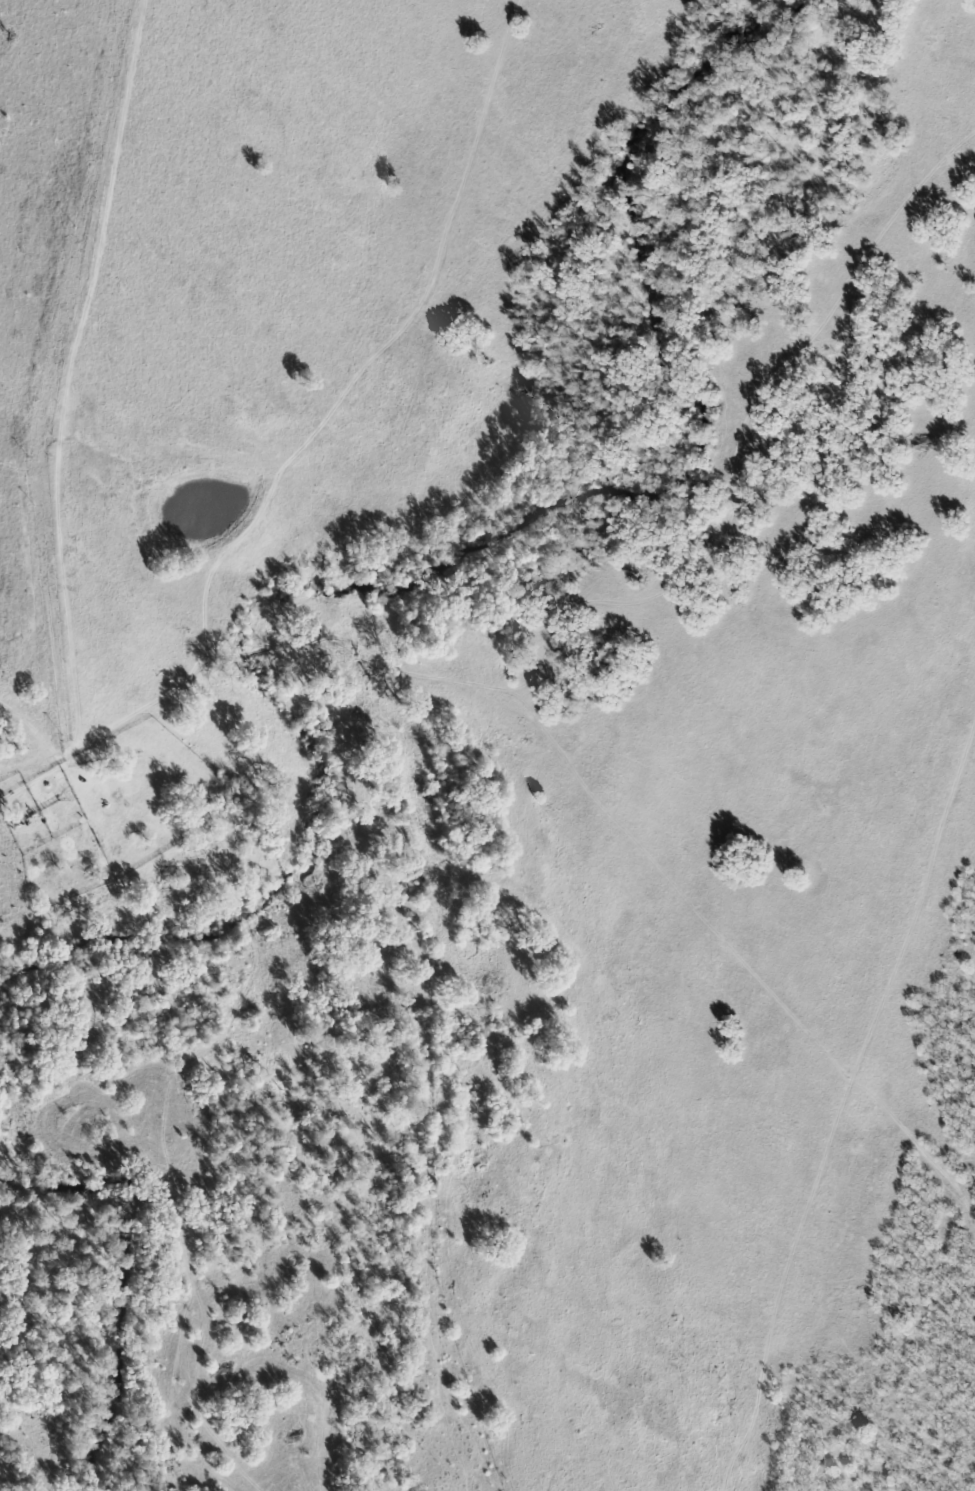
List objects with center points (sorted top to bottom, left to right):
road: (437, 257)
road: (68, 370)
road: (196, 670)

